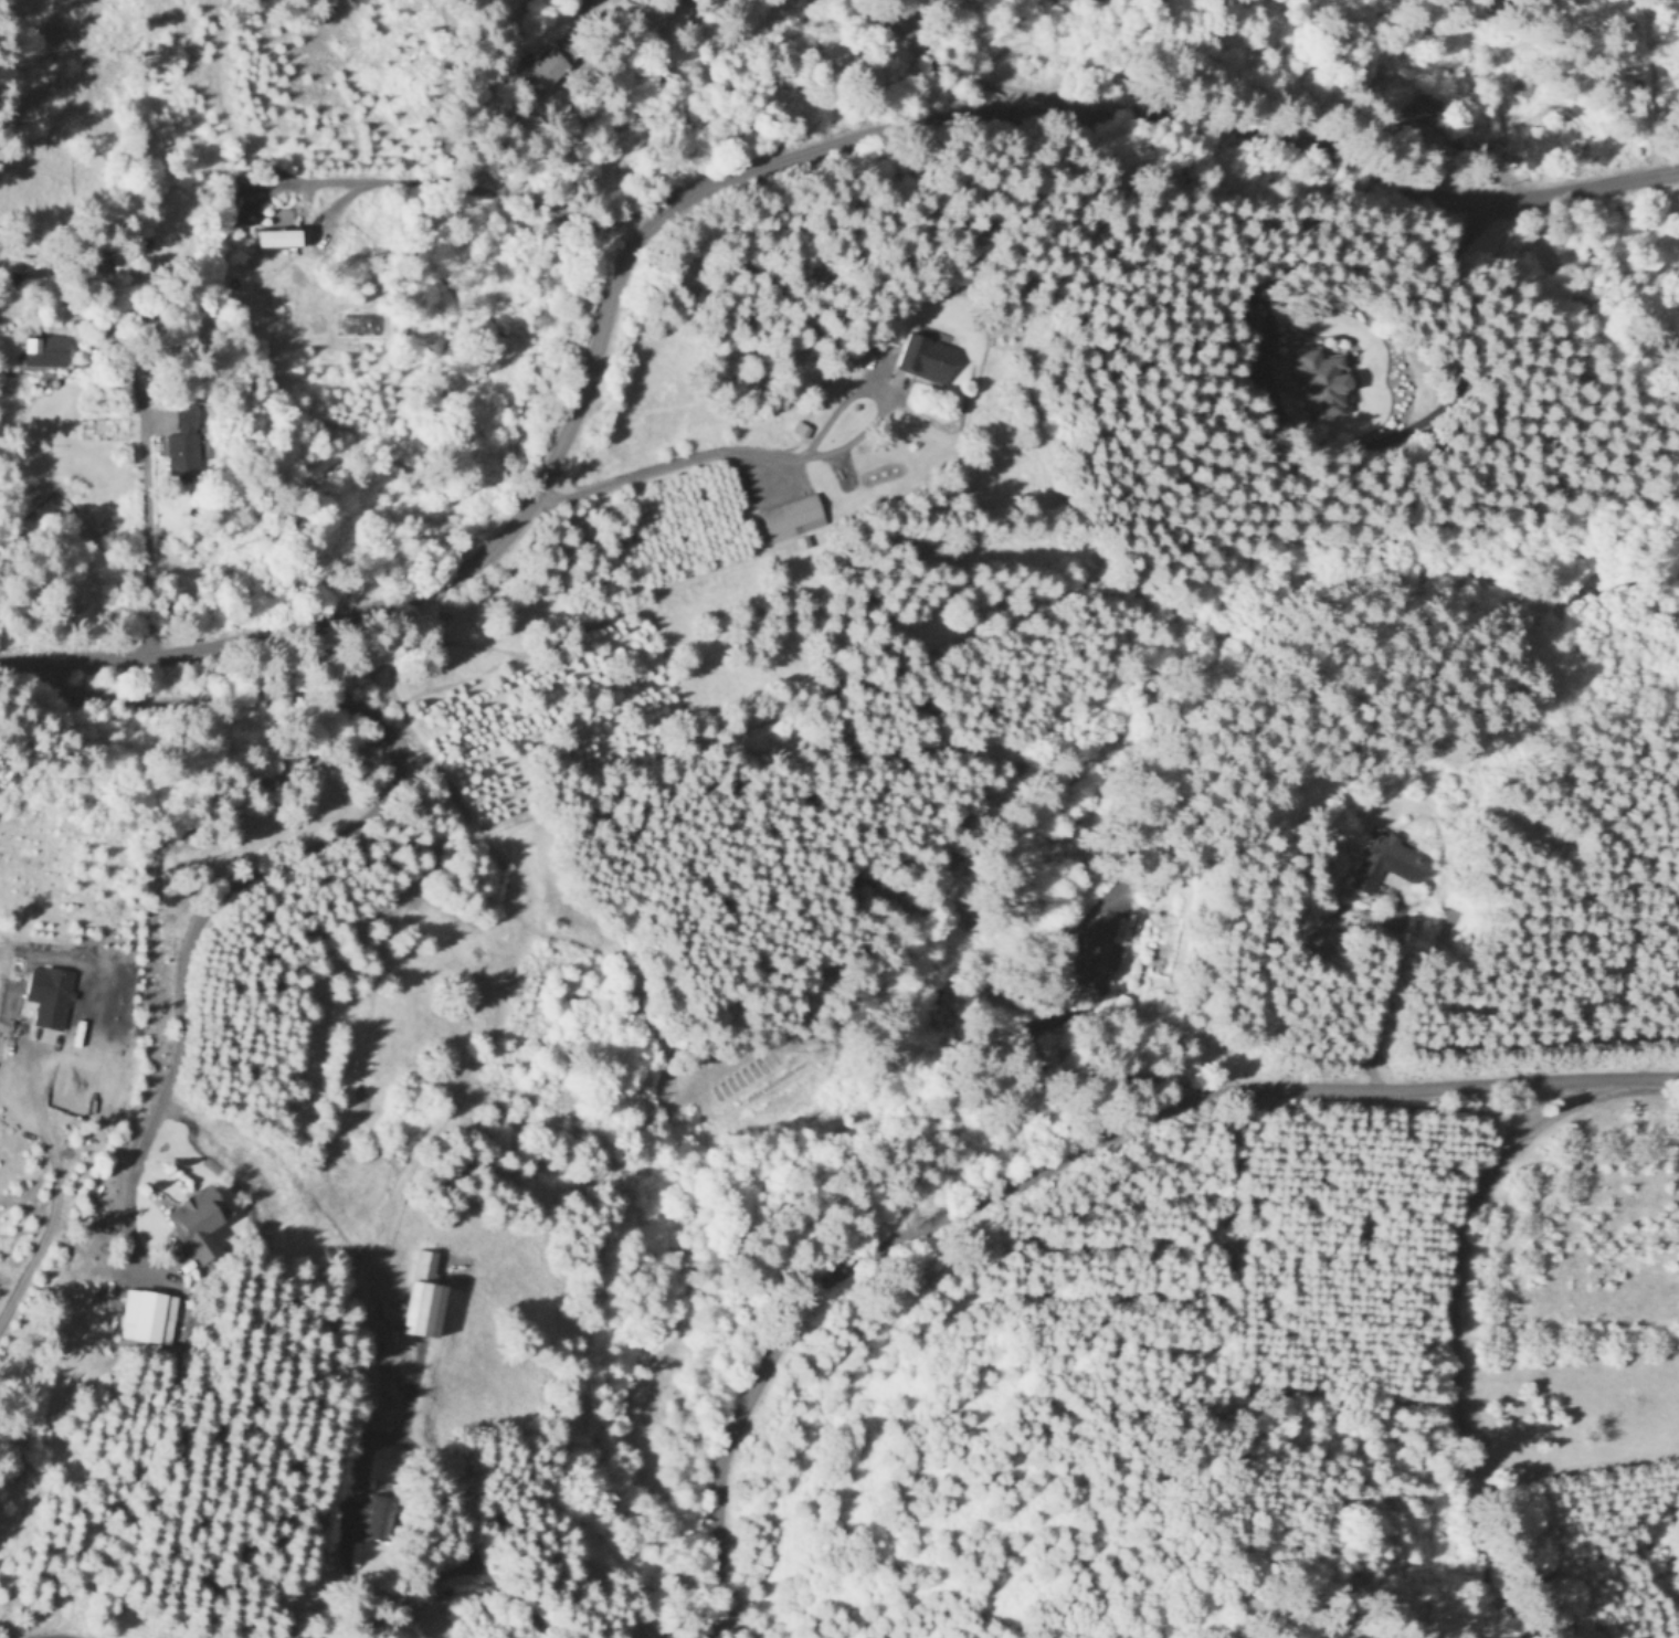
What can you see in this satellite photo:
building: (543, 68)
road: (925, 72)
road: (735, 179)
road: (495, 189)
building: (276, 234)
building: (28, 274)
building: (45, 349)
building: (926, 356)
building: (1322, 380)
road: (1416, 397)
building: (801, 426)
building: (184, 438)
road: (709, 457)
building: (792, 515)
road: (145, 517)
road: (324, 838)
building: (1386, 859)
building: (1109, 942)
building: (49, 993)
road: (1377, 1000)
road: (1055, 1165)
road: (49, 1193)
building: (198, 1219)
building: (422, 1293)
building: (147, 1314)
road: (1459, 1336)
building: (377, 1515)
road: (462, 1532)
road: (739, 1627)

